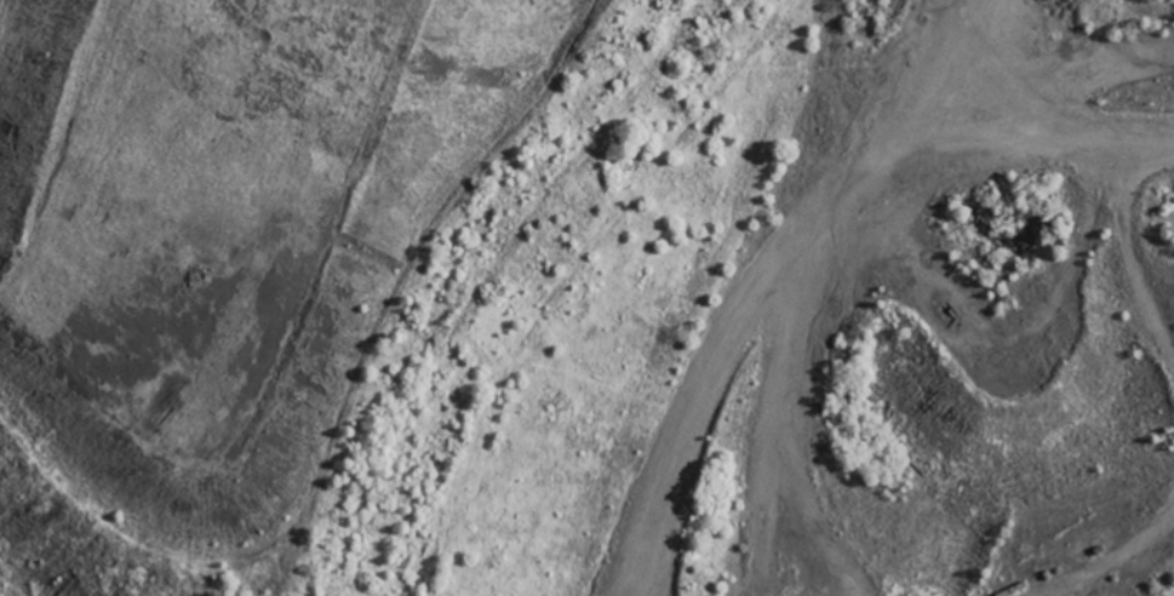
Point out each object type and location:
quarry: (991, 84)
road: (1049, 162)
quarry: (210, 256)
road: (778, 288)

